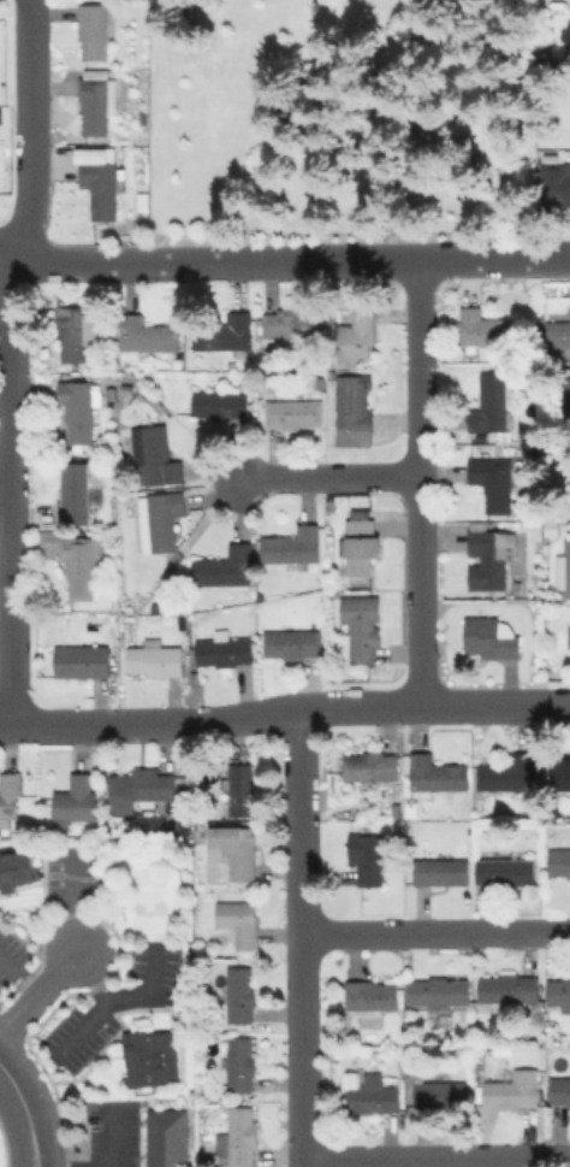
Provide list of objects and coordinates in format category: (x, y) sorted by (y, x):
building: (90, 30)
building: (94, 101)
building: (0, 111)
park: (337, 118)
road: (411, 118)
building: (97, 179)
building: (554, 184)
road: (284, 259)
building: (287, 325)
building: (482, 328)
building: (221, 331)
building: (72, 332)
building: (557, 332)
building: (142, 335)
building: (352, 335)
road: (5, 360)
building: (565, 394)
building: (487, 401)
building: (216, 403)
building: (351, 408)
building: (76, 409)
building: (291, 413)
building: (153, 458)
road: (328, 477)
road: (1, 478)
road: (416, 482)
building: (491, 482)
building: (569, 488)
building: (72, 493)
building: (161, 518)
building: (290, 544)
building: (356, 544)
building: (486, 554)
building: (75, 565)
building: (562, 566)
building: (220, 567)
building: (360, 625)
building: (568, 625)
building: (487, 636)
building: (289, 643)
building: (220, 649)
building: (152, 658)
building: (81, 659)
road: (285, 713)
building: (368, 766)
building: (505, 772)
building: (433, 773)
building: (558, 773)
building: (136, 786)
building: (238, 789)
building: (8, 796)
building: (73, 797)
building: (231, 847)
building: (363, 855)
building: (557, 862)
building: (16, 868)
building: (438, 870)
building: (501, 870)
building: (236, 921)
road: (75, 927)
road: (434, 932)
road: (299, 938)
road: (19, 976)
building: (505, 986)
building: (437, 991)
building: (238, 992)
building: (557, 992)
road: (37, 994)
building: (369, 996)
road: (114, 997)
building: (148, 1056)
building: (237, 1062)
building: (510, 1090)
building: (439, 1091)
building: (558, 1091)
building: (369, 1094)
road: (24, 1113)
road: (108, 1133)
building: (164, 1137)
building: (234, 1137)
road: (435, 1160)

